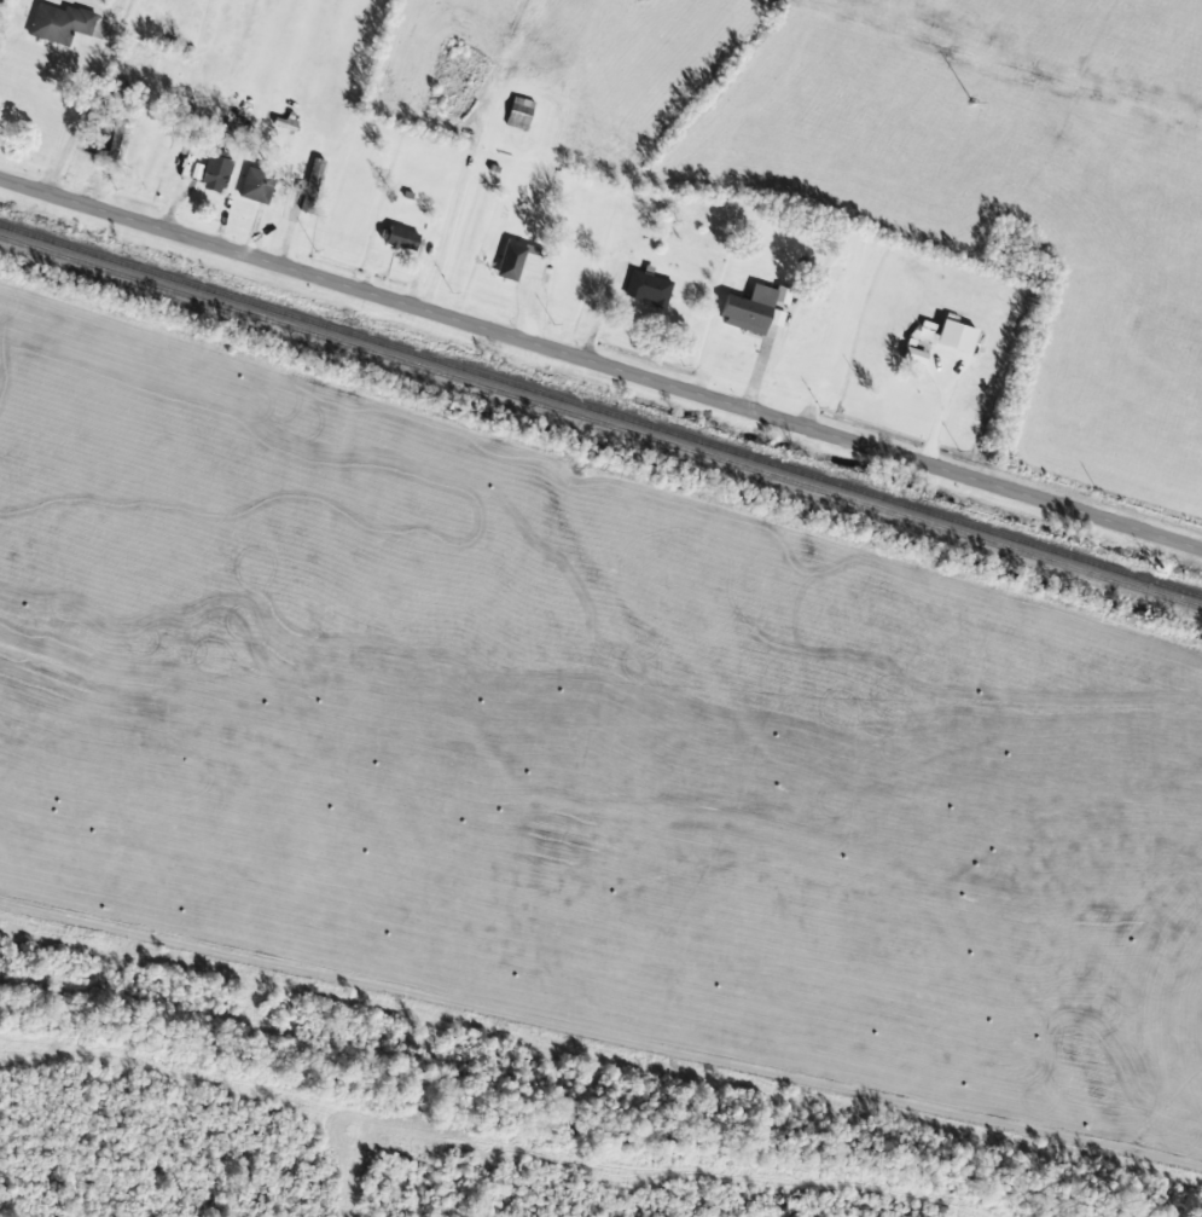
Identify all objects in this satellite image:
building: (59, 23)
building: (519, 112)
building: (234, 118)
building: (104, 141)
building: (215, 173)
building: (256, 185)
building: (312, 185)
building: (401, 239)
building: (521, 261)
building: (648, 288)
building: (753, 308)
building: (956, 336)
road: (600, 360)
railway: (600, 411)
railway: (600, 423)

